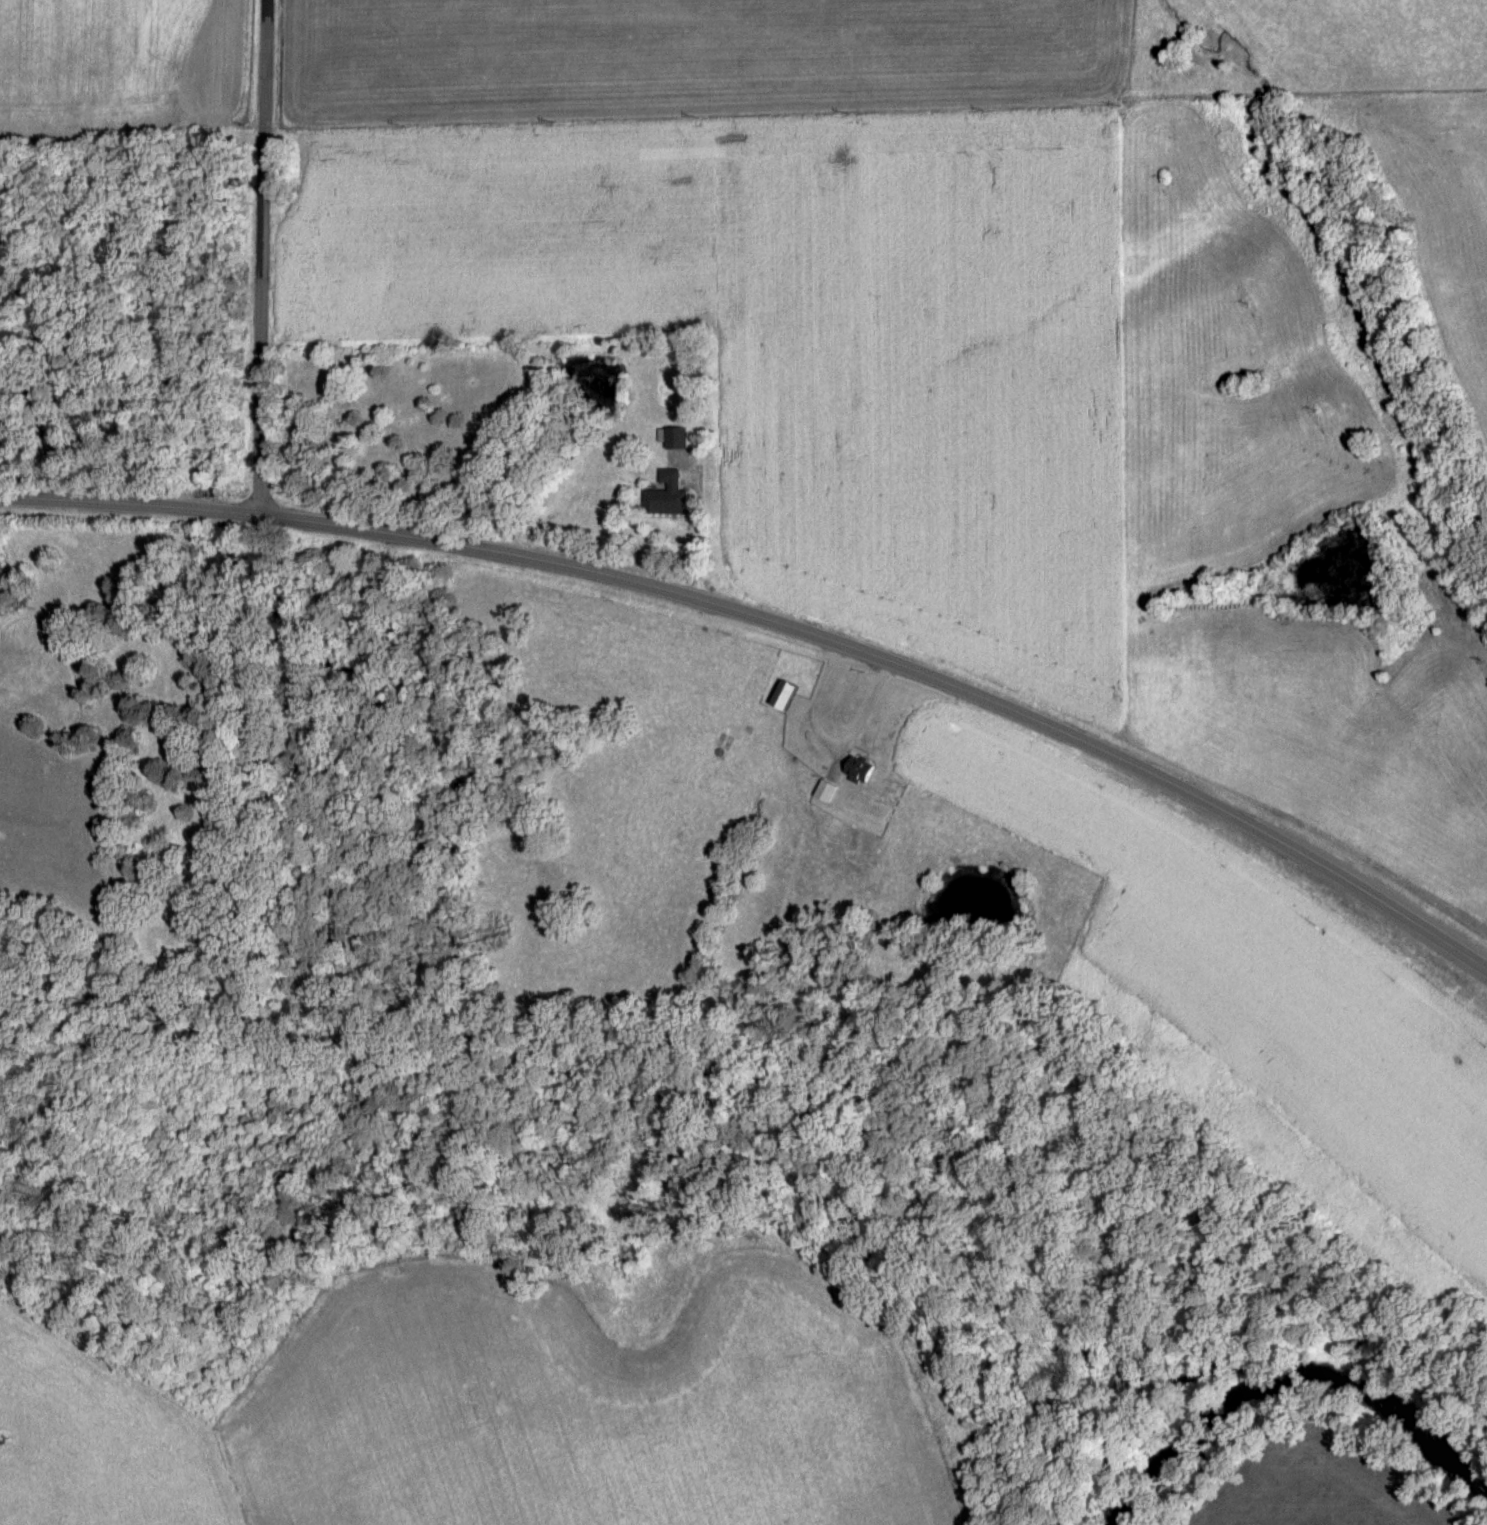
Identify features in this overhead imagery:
road: (250, 257)
building: (676, 440)
building: (666, 497)
road: (780, 620)
building: (1152, 687)
building: (783, 697)
building: (858, 772)
building: (825, 794)
building: (860, 844)
river: (1290, 1377)

